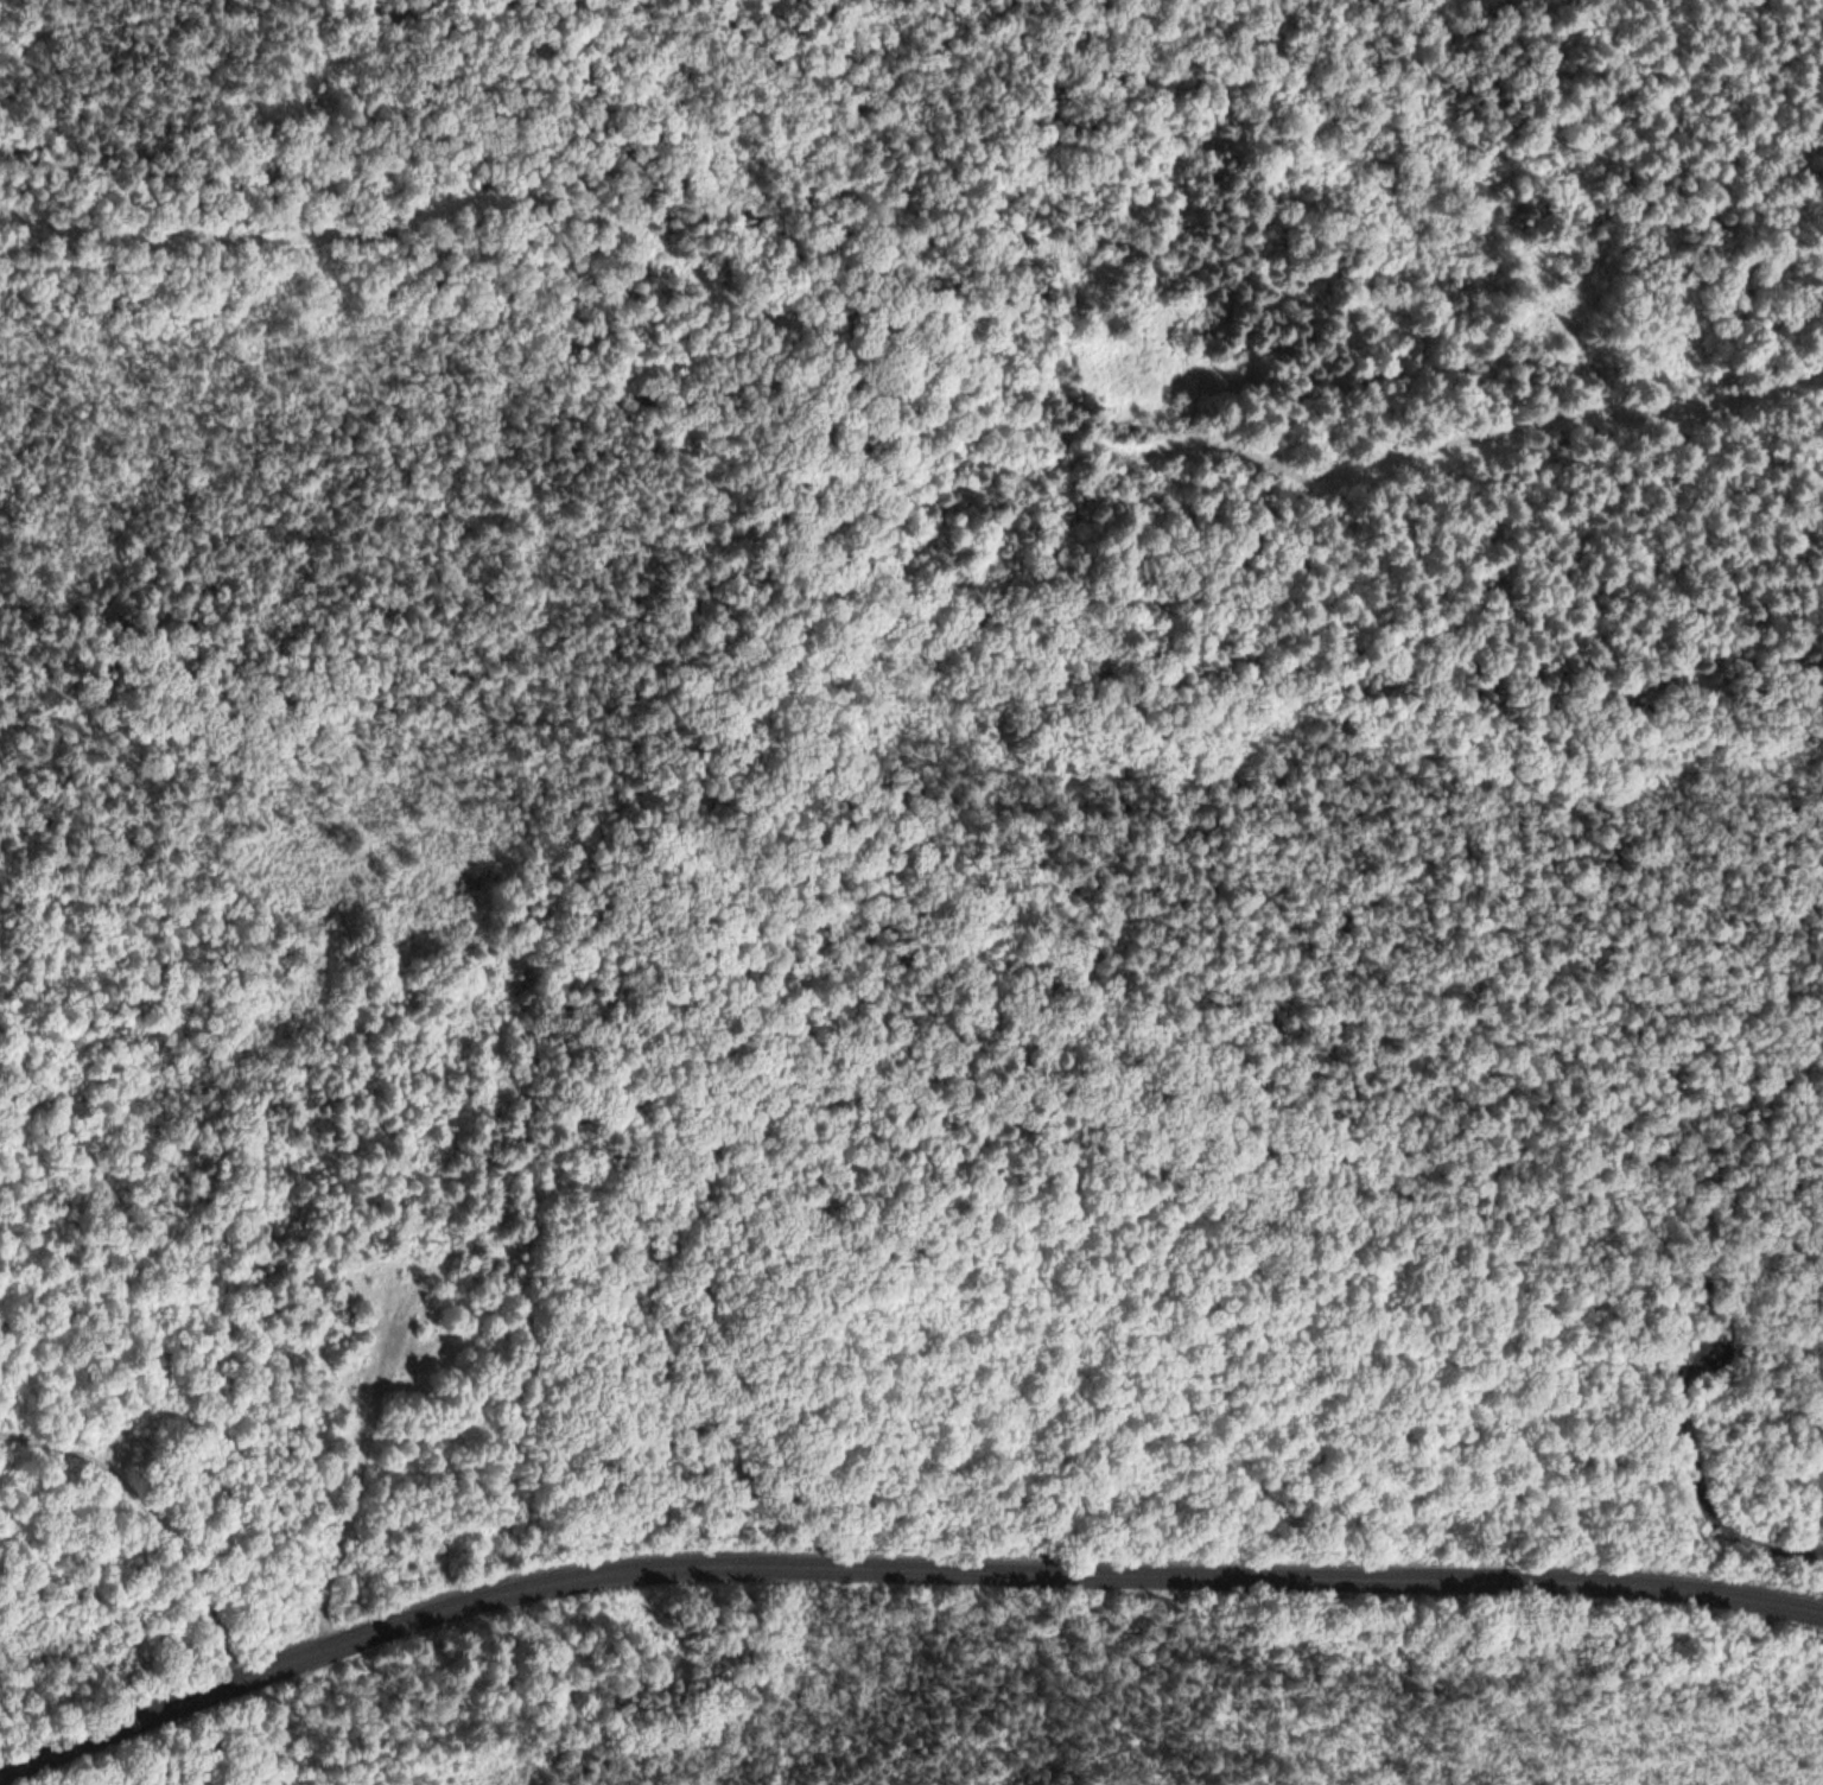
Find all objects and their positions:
road: (394, 215)
road: (1275, 457)
building: (1681, 1345)
road: (1702, 1505)
road: (895, 1561)

